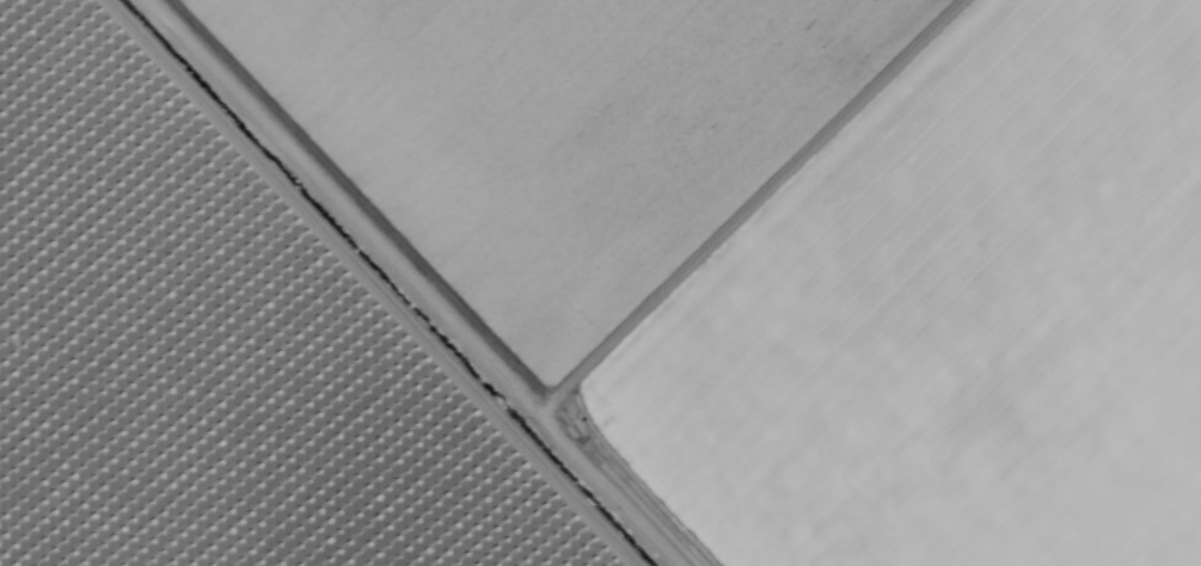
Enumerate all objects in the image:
crop: (784, 251)
road: (454, 283)
crop: (228, 345)

